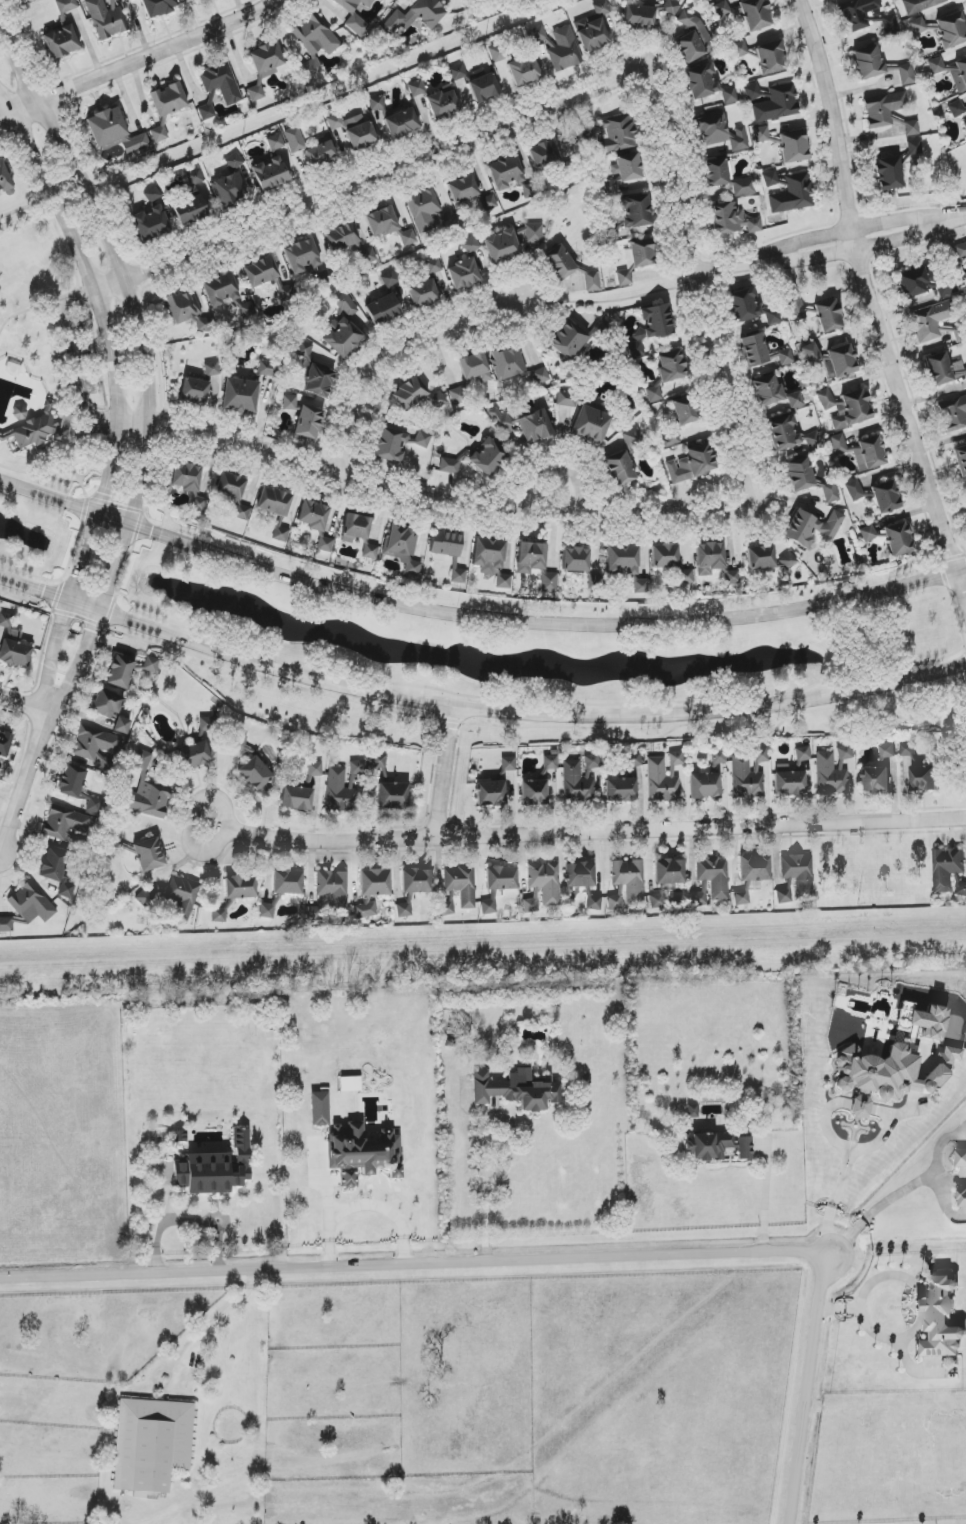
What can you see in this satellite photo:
building: (920, 5)
building: (159, 7)
building: (724, 8)
building: (755, 14)
building: (856, 14)
building: (417, 15)
building: (355, 16)
building: (639, 17)
building: (107, 18)
building: (890, 24)
building: (919, 26)
building: (593, 28)
building: (952, 30)
building: (62, 32)
building: (692, 39)
building: (314, 44)
building: (564, 49)
building: (738, 49)
building: (771, 58)
road: (140, 60)
building: (868, 62)
building: (264, 66)
building: (936, 66)
building: (525, 71)
building: (458, 72)
building: (906, 74)
building: (958, 74)
building: (700, 81)
building: (221, 82)
building: (484, 87)
building: (417, 88)
building: (753, 91)
building: (730, 95)
building: (168, 99)
building: (376, 103)
building: (443, 104)
building: (777, 104)
building: (956, 108)
building: (883, 110)
building: (207, 112)
building: (402, 123)
building: (965, 123)
building: (911, 128)
building: (354, 130)
building: (712, 130)
building: (114, 132)
building: (159, 134)
building: (762, 134)
building: (617, 135)
building: (295, 139)
building: (738, 139)
building: (275, 142)
building: (794, 147)
building: (915, 147)
building: (321, 153)
building: (544, 154)
building: (234, 161)
building: (505, 172)
building: (622, 172)
building: (888, 173)
building: (270, 174)
building: (726, 178)
building: (770, 178)
building: (5, 180)
building: (230, 189)
building: (463, 189)
building: (152, 194)
building: (794, 194)
building: (190, 201)
building: (488, 202)
building: (423, 209)
building: (635, 211)
road: (961, 217)
building: (726, 218)
building: (382, 222)
building: (151, 223)
building: (754, 225)
building: (534, 233)
road: (822, 236)
building: (342, 237)
building: (408, 237)
building: (471, 245)
building: (502, 246)
building: (960, 251)
building: (302, 256)
building: (368, 256)
road: (826, 256)
building: (635, 260)
building: (560, 262)
building: (434, 265)
building: (261, 271)
building: (464, 274)
building: (390, 279)
building: (592, 281)
building: (287, 293)
building: (227, 294)
building: (423, 294)
road: (872, 299)
road: (41, 304)
building: (347, 305)
road: (135, 306)
building: (183, 306)
building: (752, 307)
building: (796, 307)
building: (383, 309)
building: (829, 316)
building: (931, 320)
road: (702, 322)
building: (205, 323)
building: (651, 327)
building: (341, 337)
building: (575, 338)
road: (108, 343)
building: (754, 350)
building: (811, 354)
building: (786, 357)
road: (398, 358)
road: (77, 360)
building: (840, 362)
building: (509, 363)
building: (671, 366)
building: (475, 367)
building: (268, 368)
building: (958, 368)
building: (212, 369)
building: (938, 369)
building: (314, 373)
building: (540, 377)
road: (60, 381)
building: (194, 390)
building: (768, 391)
building: (409, 393)
building: (654, 394)
building: (461, 395)
building: (240, 396)
building: (567, 398)
building: (796, 400)
building: (290, 402)
building: (846, 408)
building: (686, 411)
building: (953, 415)
building: (309, 422)
building: (523, 425)
building: (591, 425)
road: (107, 427)
building: (35, 430)
building: (789, 435)
building: (633, 439)
building: (671, 439)
building: (838, 443)
building: (397, 444)
building: (870, 454)
building: (961, 459)
building: (692, 464)
building: (620, 468)
road: (75, 469)
road: (558, 469)
building: (800, 474)
building: (187, 477)
building: (231, 486)
building: (855, 490)
building: (831, 493)
building: (886, 497)
building: (274, 501)
road: (105, 502)
building: (240, 510)
building: (314, 515)
building: (812, 527)
building: (355, 528)
building: (868, 533)
building: (899, 539)
building: (325, 544)
building: (446, 544)
building: (403, 547)
building: (370, 551)
building: (665, 556)
building: (531, 557)
building: (761, 557)
building: (709, 558)
building: (622, 559)
building: (491, 560)
building: (576, 560)
building: (788, 560)
building: (459, 576)
building: (686, 576)
building: (731, 577)
building: (549, 582)
building: (595, 582)
building: (641, 586)
road: (475, 618)
building: (13, 645)
road: (54, 654)
road: (79, 663)
building: (151, 664)
building: (120, 672)
road: (24, 703)
building: (106, 704)
road: (476, 709)
building: (207, 724)
building: (122, 725)
building: (5, 744)
building: (97, 747)
building: (908, 750)
building: (887, 751)
building: (803, 754)
building: (195, 755)
building: (718, 757)
building: (634, 760)
building: (591, 761)
building: (380, 762)
building: (508, 764)
building: (549, 765)
building: (357, 767)
building: (315, 769)
building: (833, 771)
road: (445, 773)
building: (748, 774)
building: (257, 776)
building: (664, 777)
building: (924, 778)
building: (875, 779)
road: (25, 781)
building: (72, 781)
building: (577, 781)
building: (790, 783)
building: (705, 786)
building: (621, 790)
building: (340, 791)
building: (146, 792)
building: (534, 792)
building: (491, 793)
building: (392, 795)
building: (297, 798)
building: (94, 805)
road: (190, 823)
building: (65, 824)
road: (595, 832)
building: (149, 854)
building: (53, 864)
building: (947, 867)
building: (755, 868)
building: (670, 873)
building: (799, 873)
building: (580, 875)
building: (714, 876)
building: (501, 878)
building: (630, 879)
building: (416, 880)
building: (545, 881)
building: (287, 882)
building: (375, 882)
building: (240, 887)
building: (458, 888)
building: (66, 889)
building: (961, 889)
building: (330, 895)
building: (700, 896)
building: (784, 896)
building: (183, 897)
building: (741, 898)
building: (145, 899)
building: (657, 901)
building: (594, 903)
building: (615, 903)
building: (32, 904)
building: (489, 905)
building: (531, 905)
building: (266, 910)
building: (365, 910)
building: (404, 910)
building: (219, 915)
building: (6, 924)
building: (929, 1022)
building: (887, 1074)
building: (350, 1084)
building: (517, 1090)
building: (320, 1109)
building: (693, 1111)
road: (878, 1140)
building: (715, 1146)
building: (362, 1153)
building: (961, 1159)
building: (215, 1169)
road: (843, 1173)
road: (486, 1191)
building: (961, 1195)
road: (766, 1197)
road: (365, 1203)
road: (876, 1210)
road: (169, 1223)
road: (219, 1243)
road: (414, 1258)
road: (218, 1319)
building: (941, 1319)
road: (874, 1333)
road: (810, 1391)
building: (152, 1444)

